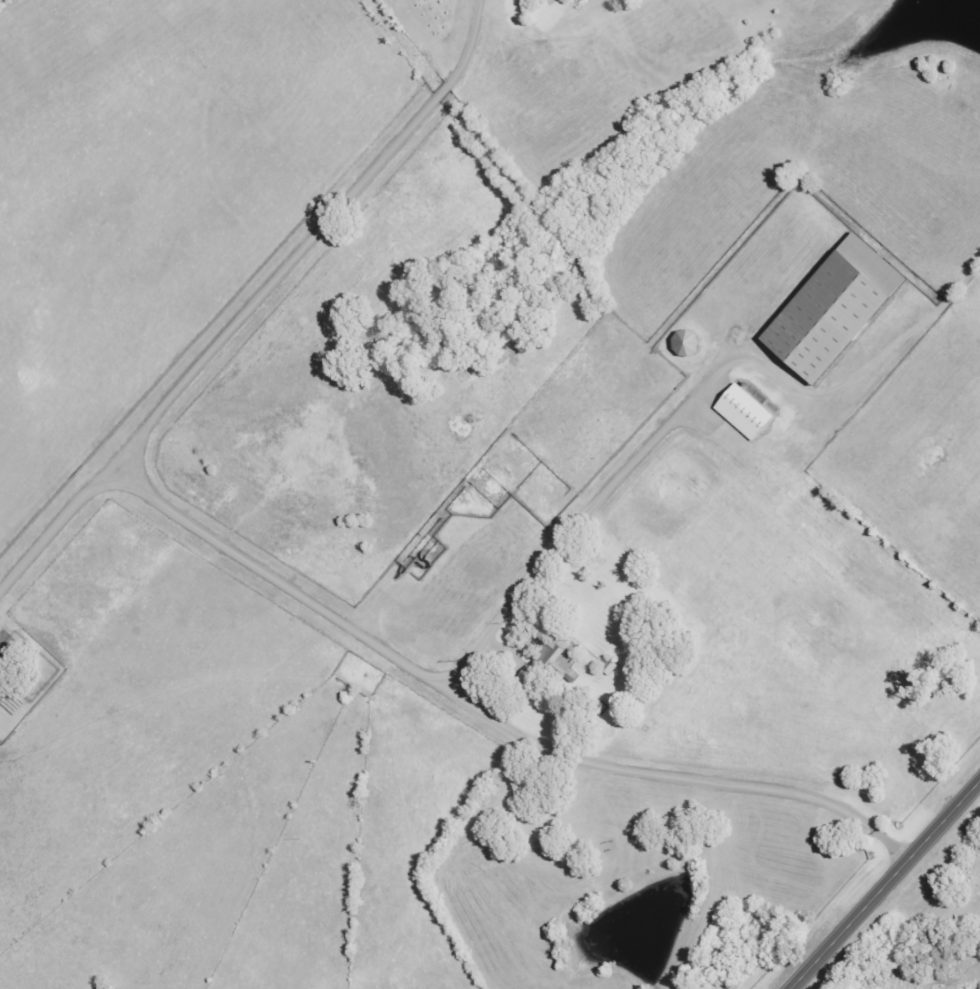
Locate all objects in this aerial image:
building: (840, 309)
building: (690, 343)
building: (748, 414)
building: (557, 663)
road: (427, 670)
road: (888, 889)

